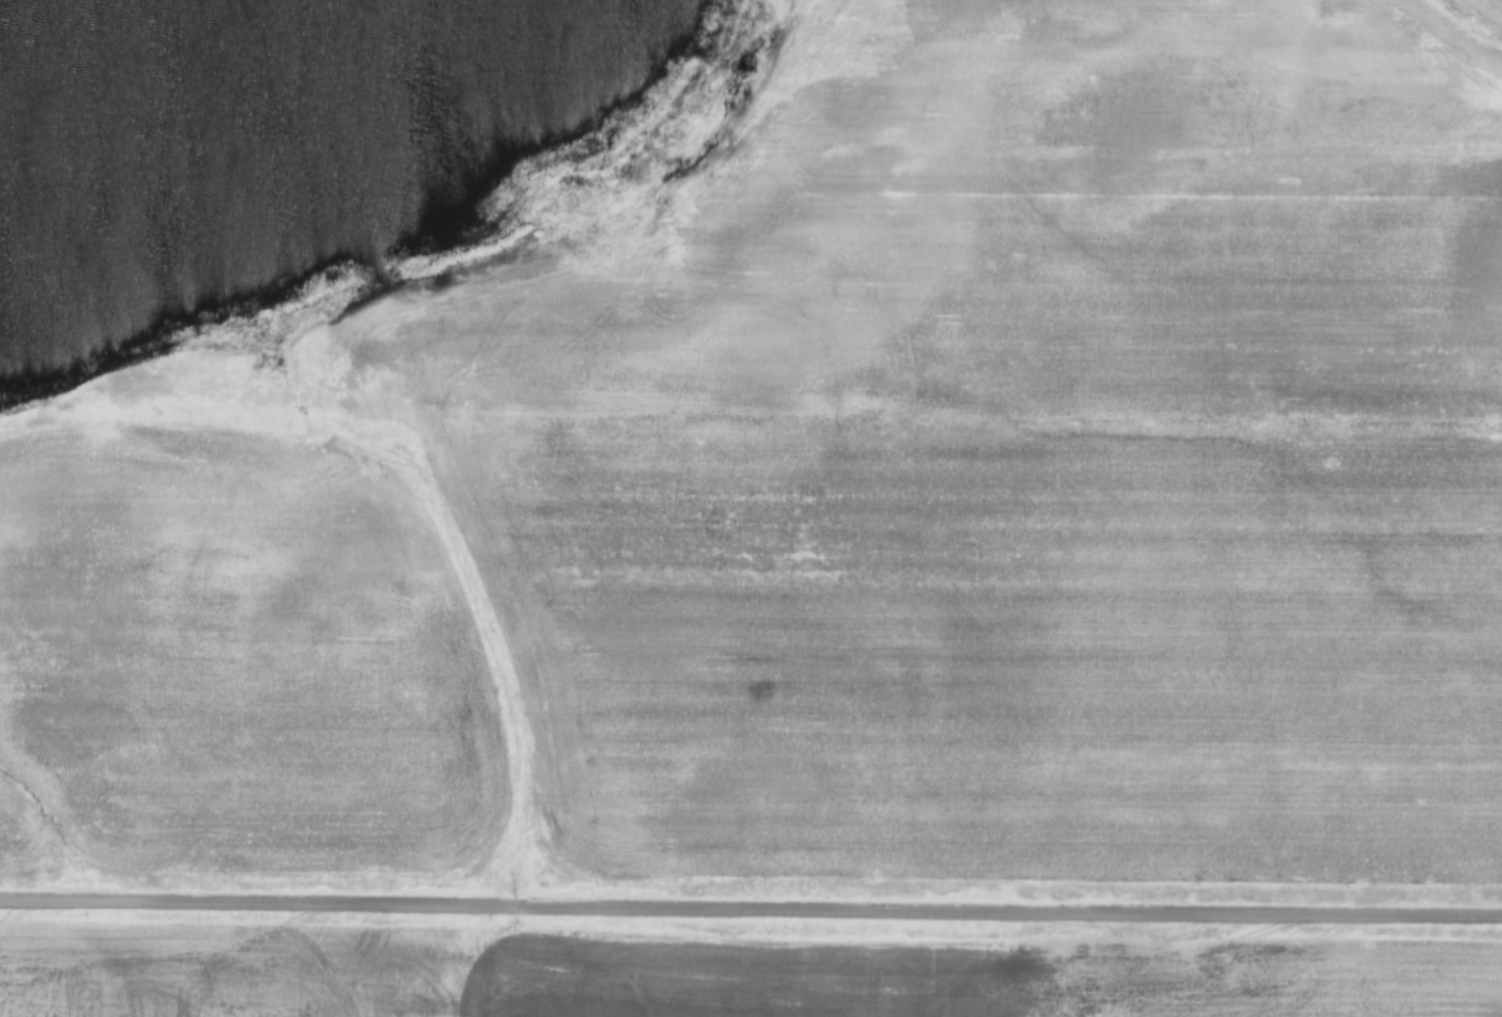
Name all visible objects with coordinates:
road: (751, 908)

